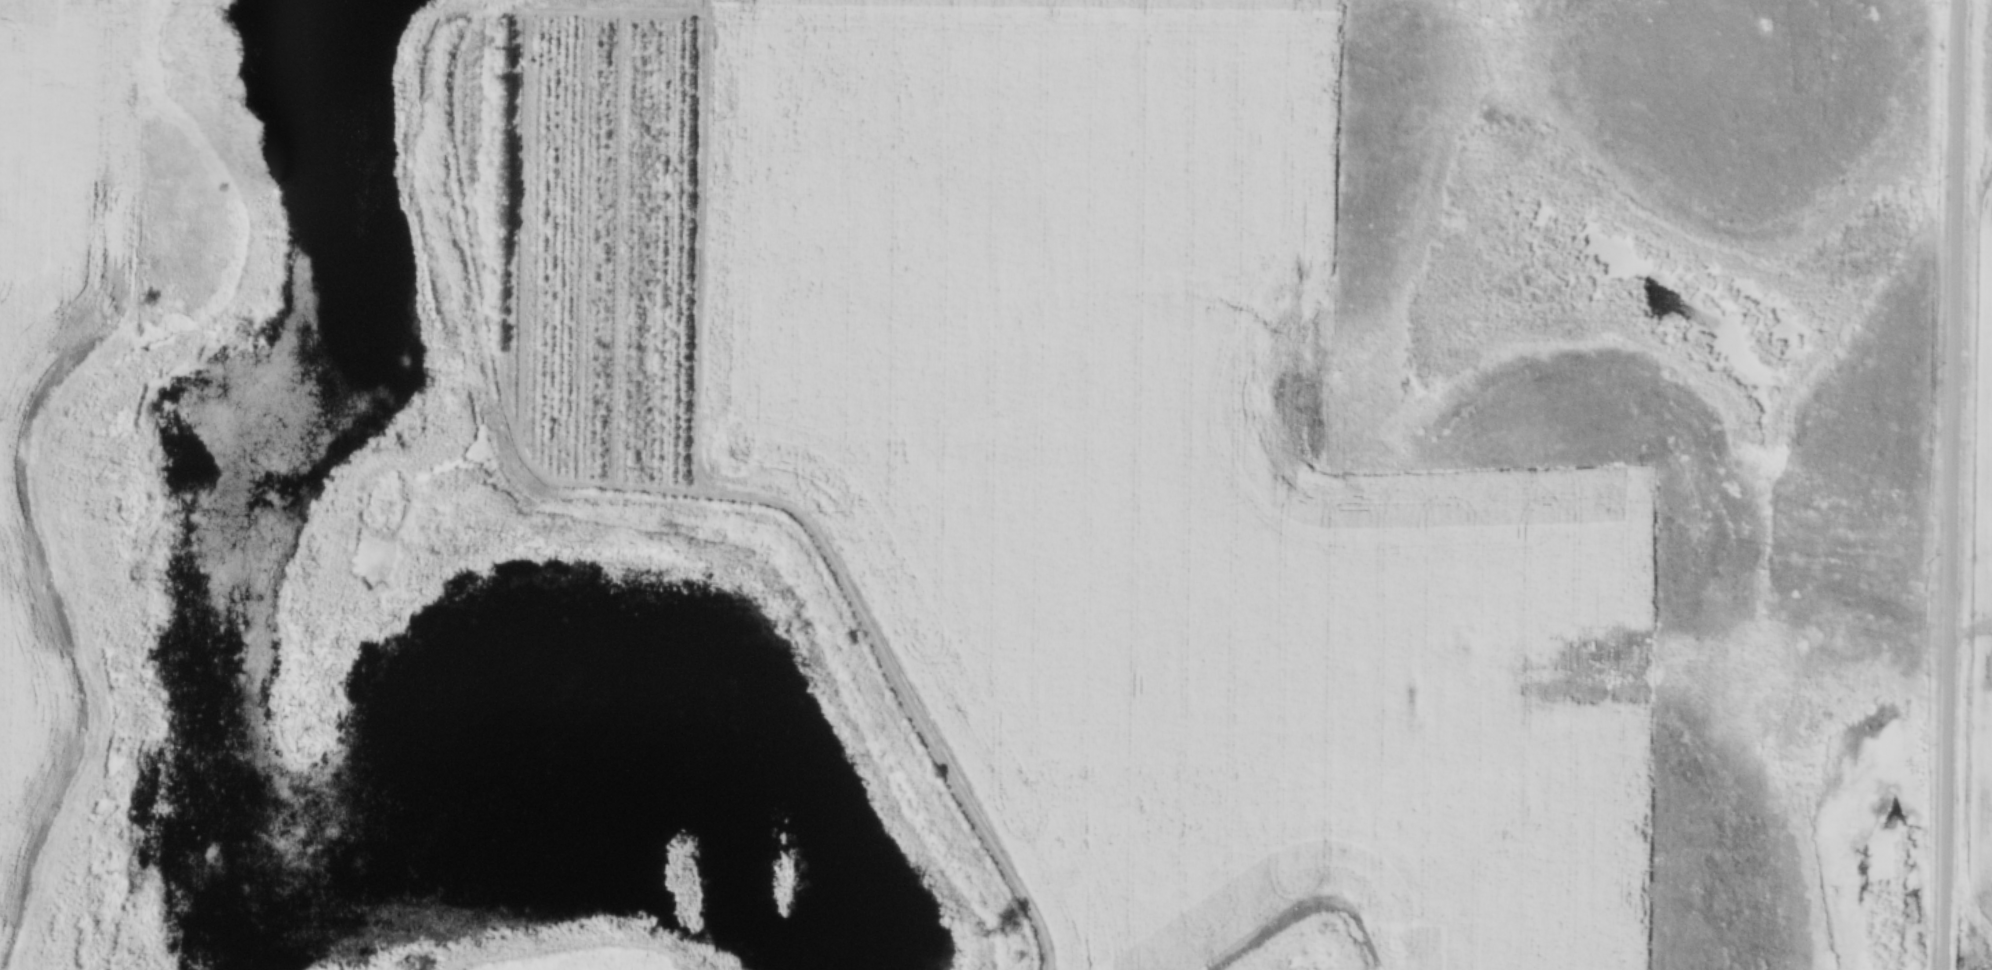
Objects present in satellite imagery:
road: (1948, 485)

